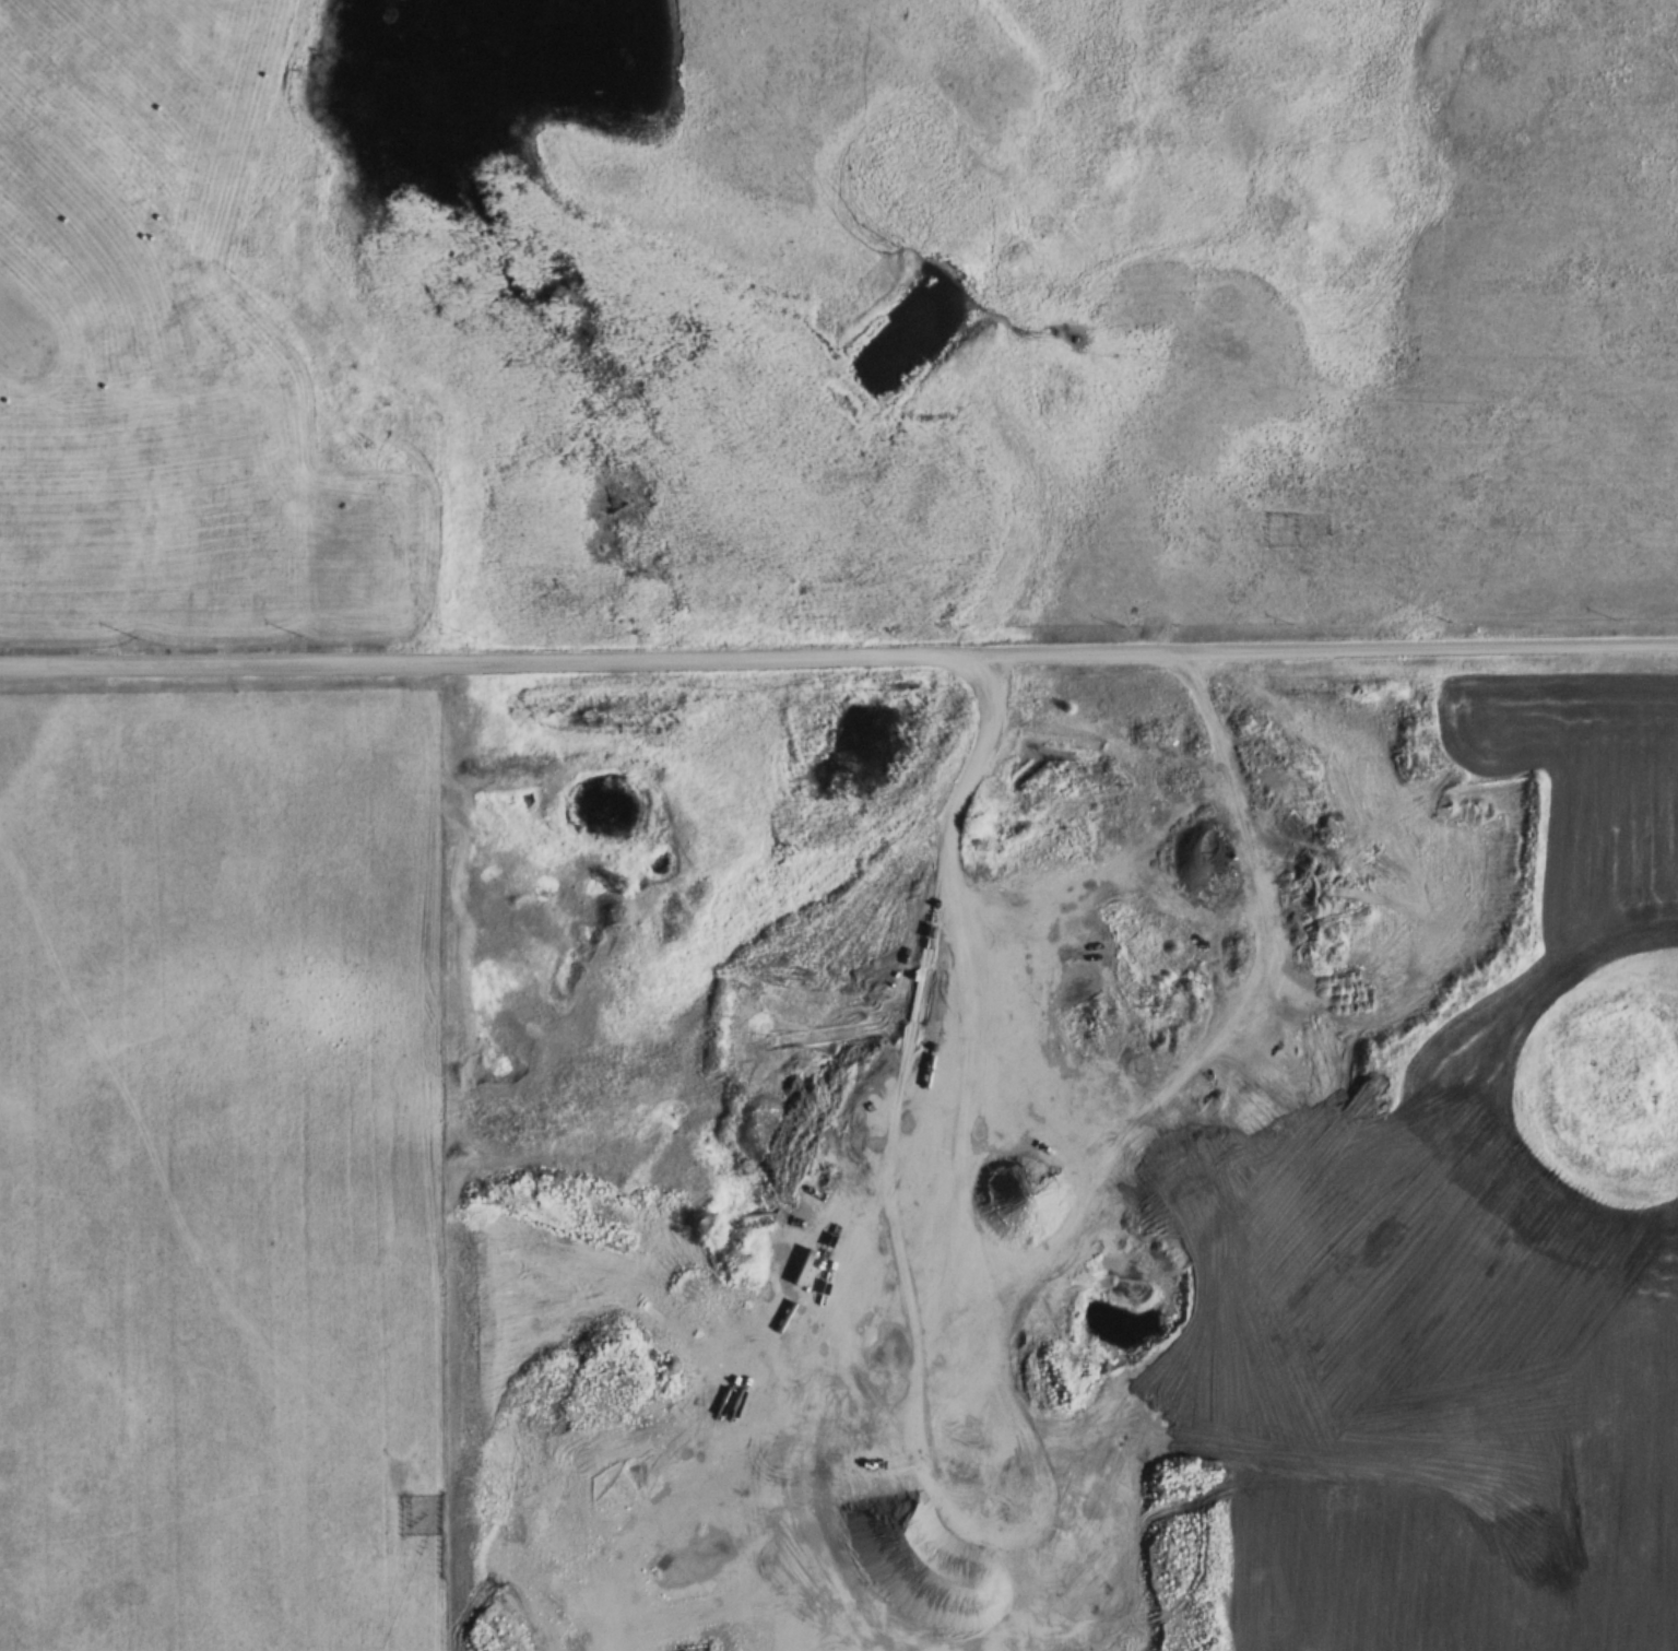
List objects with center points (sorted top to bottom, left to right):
airport runway: (13, 350)
road: (839, 664)

